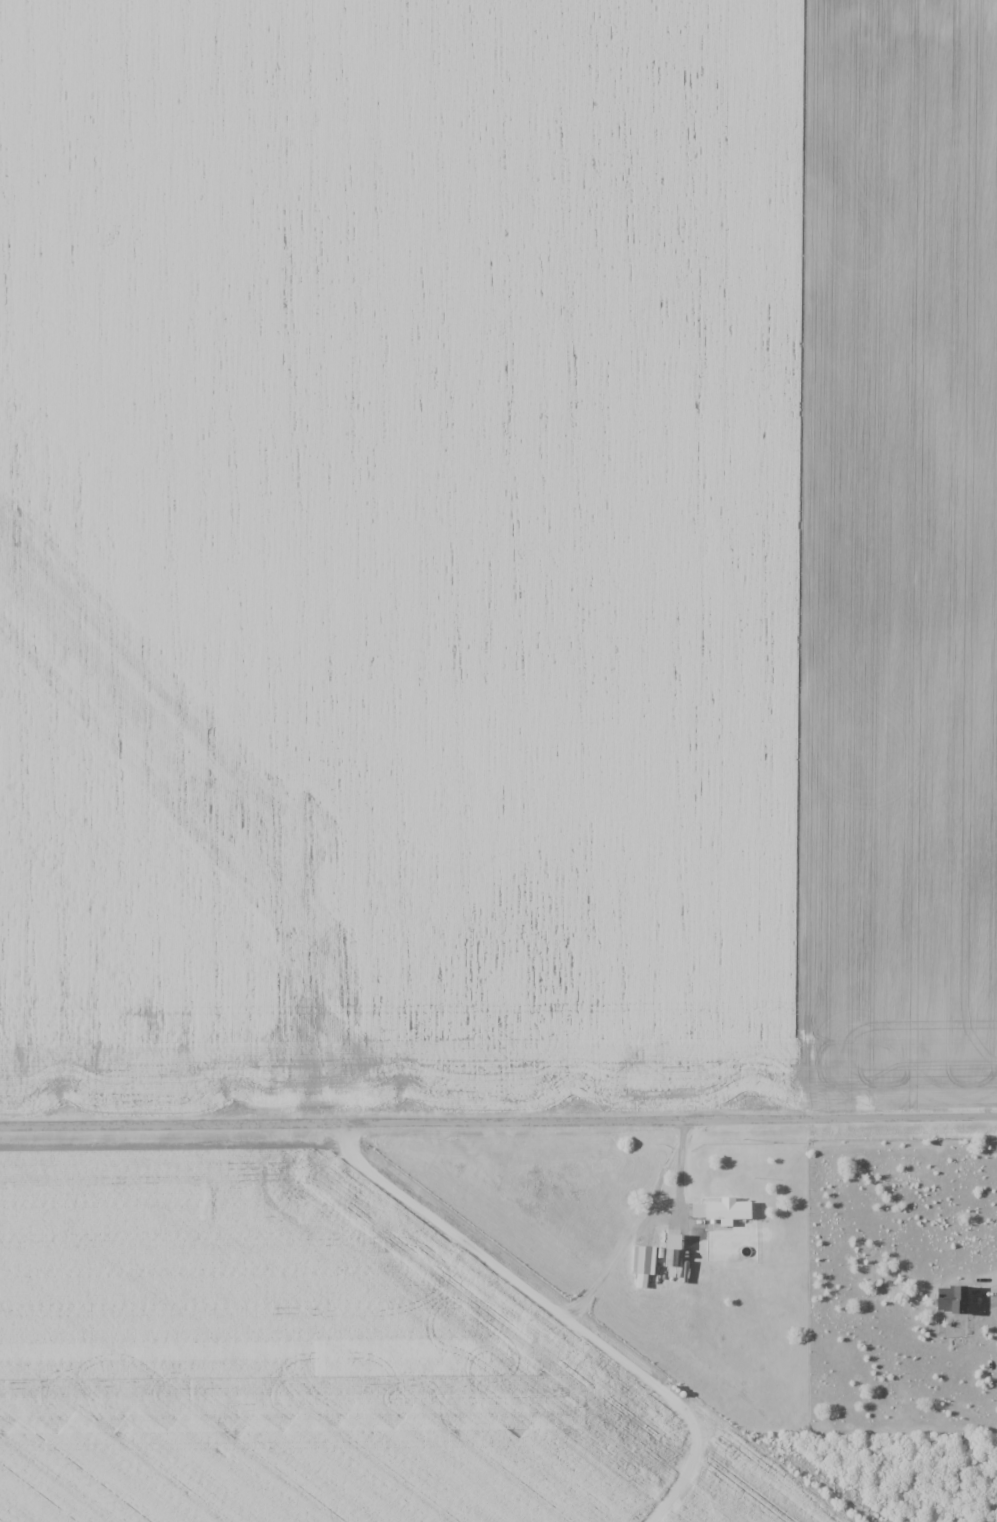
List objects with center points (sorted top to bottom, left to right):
road: (498, 1113)
building: (723, 1211)
building: (673, 1257)
building: (955, 1299)

